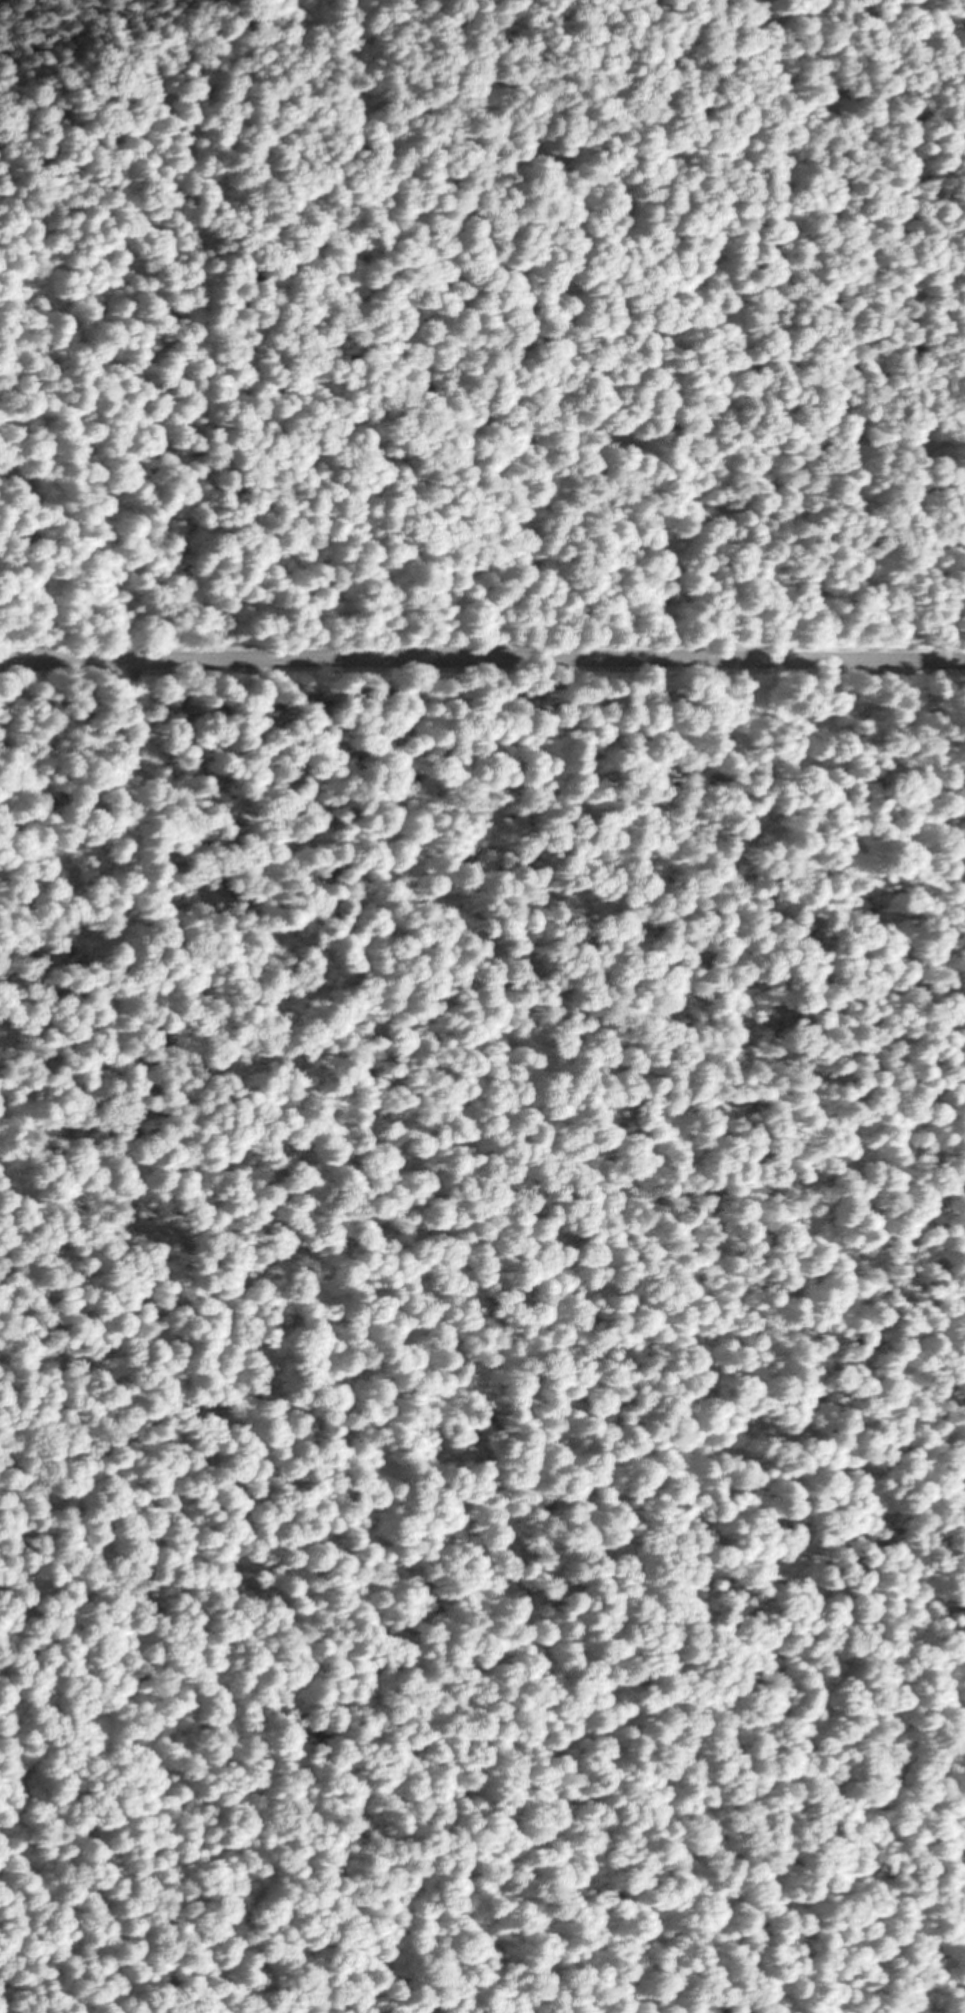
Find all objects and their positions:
road: (482, 660)

